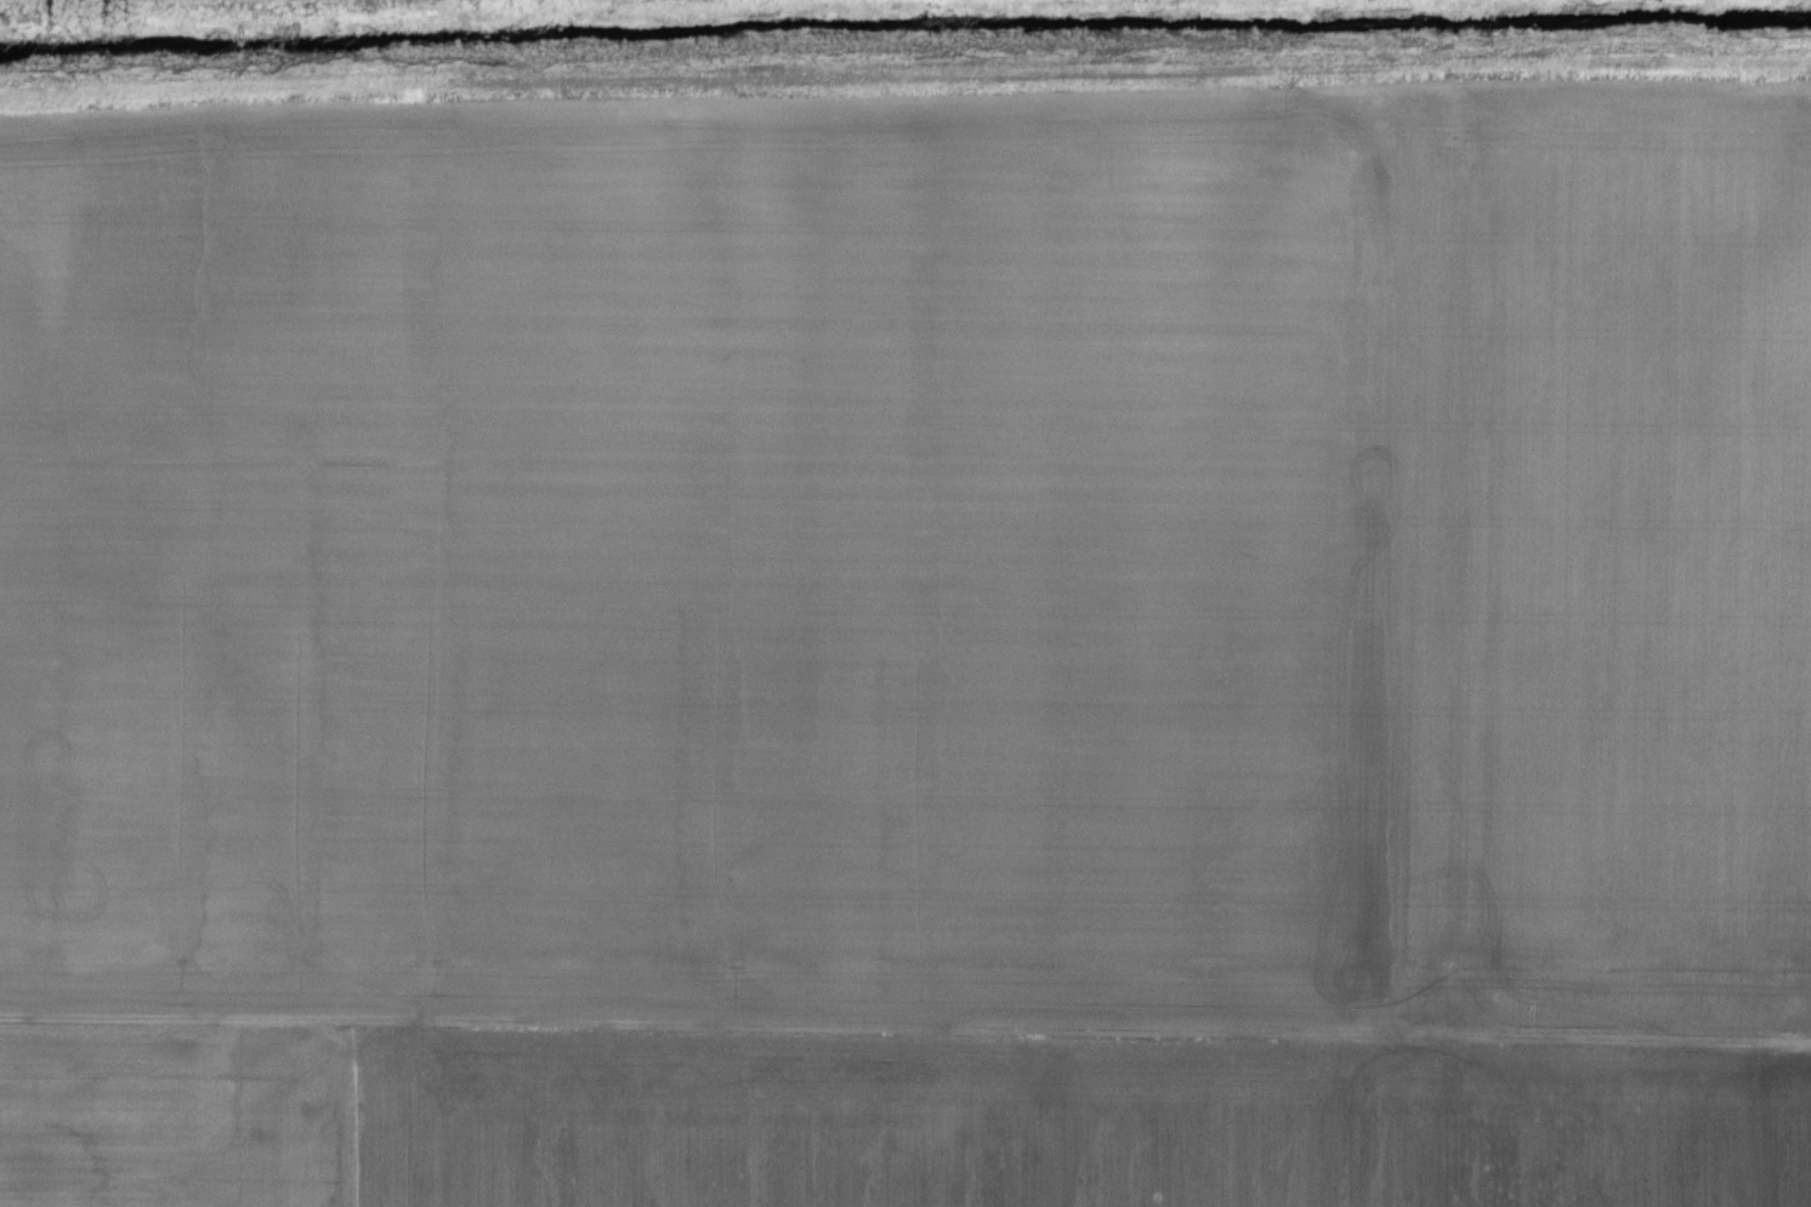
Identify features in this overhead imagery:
river: (903, 25)
road: (904, 1045)

